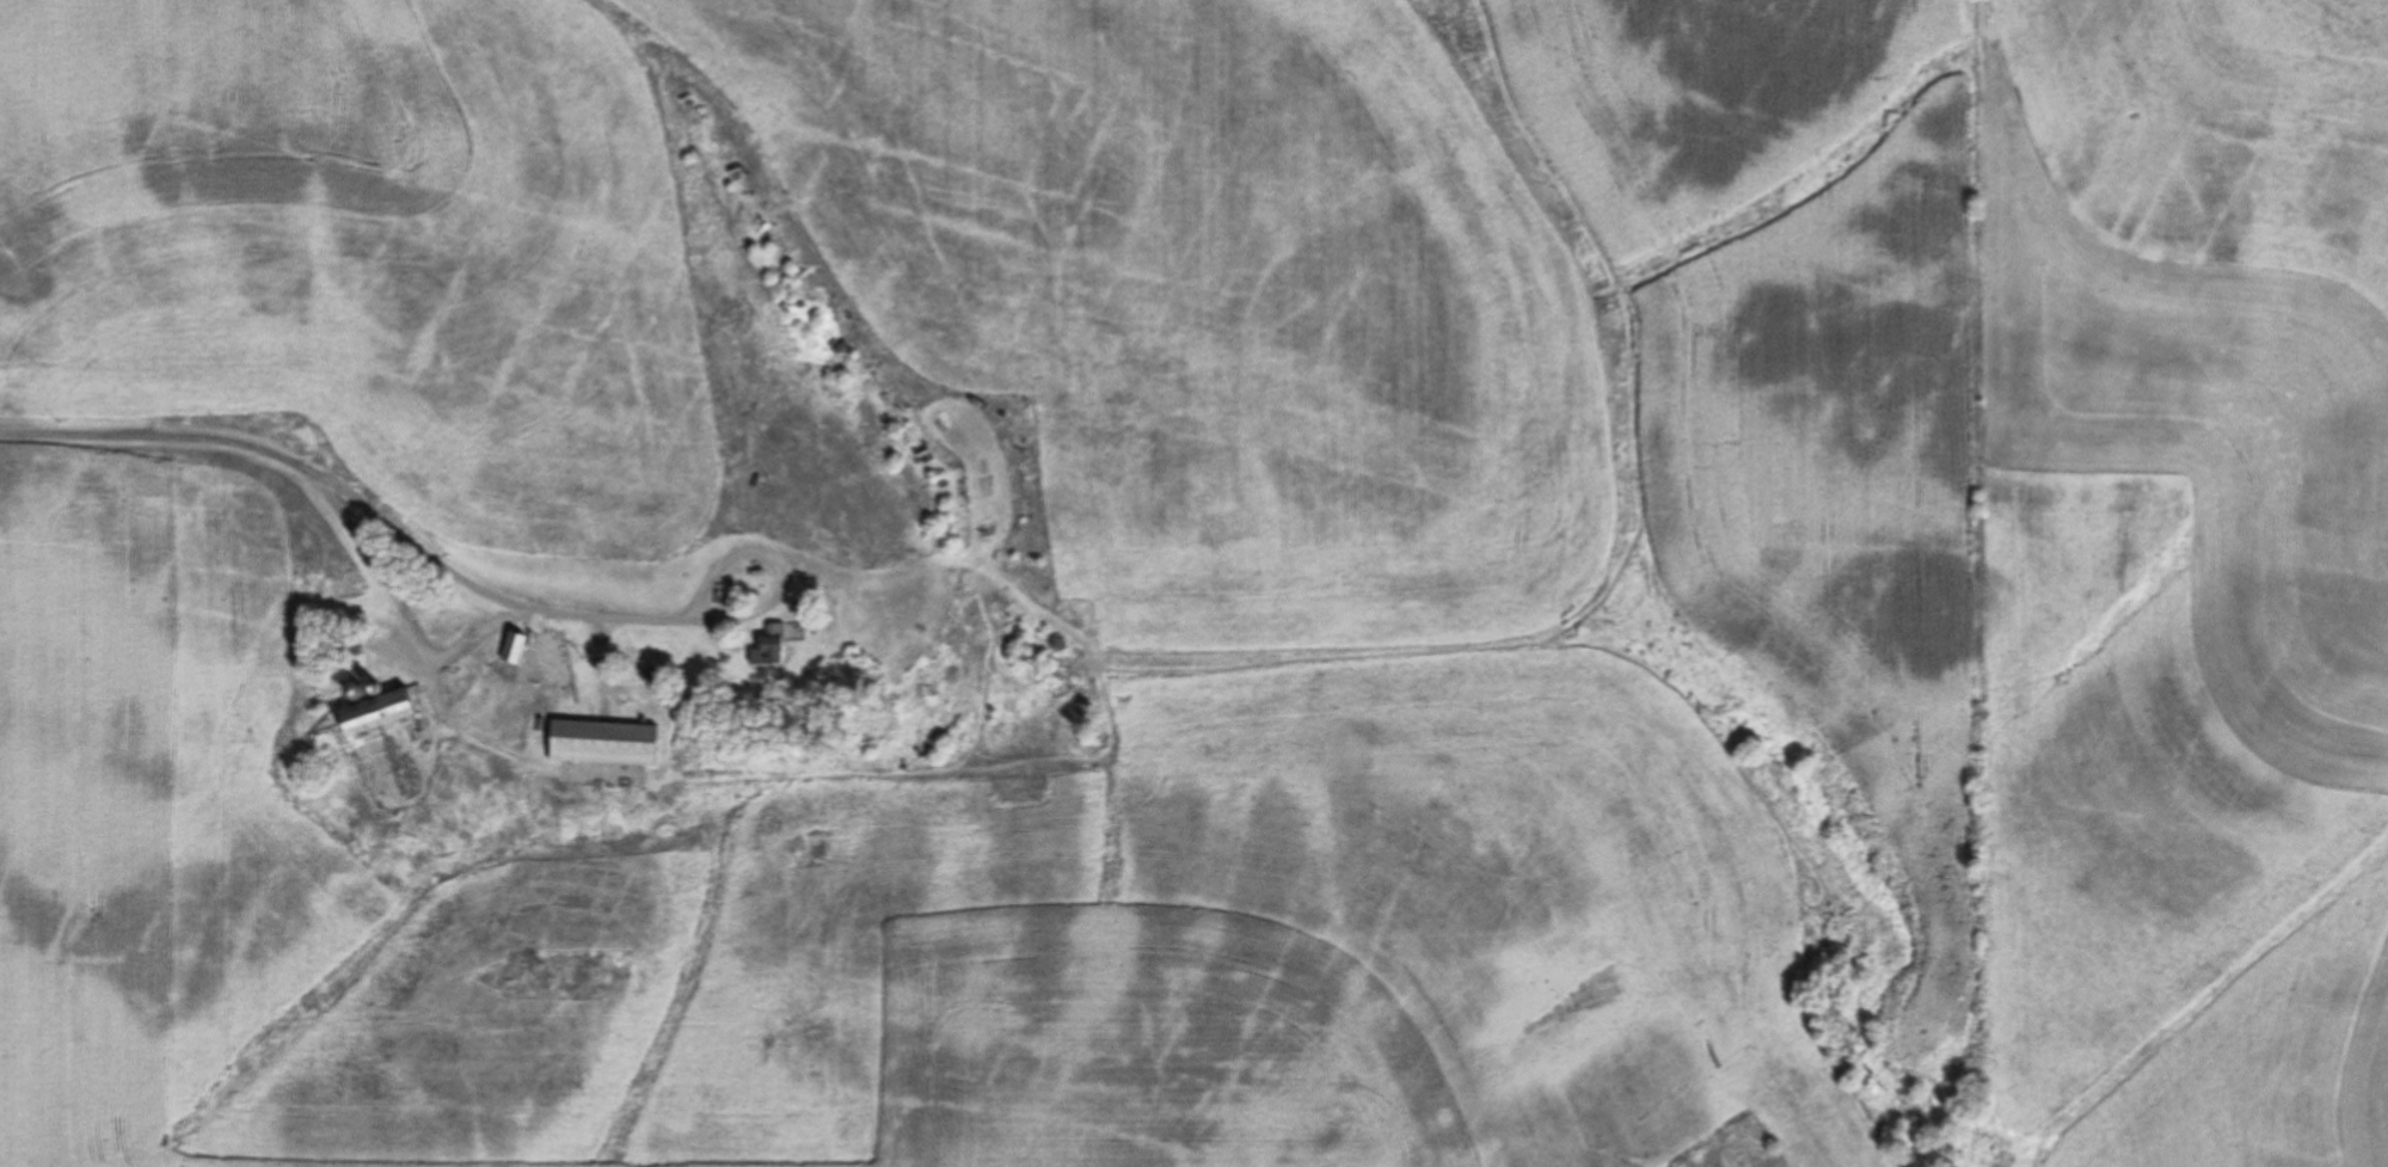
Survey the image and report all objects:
road: (344, 489)
building: (767, 645)
building: (510, 649)
building: (373, 711)
building: (600, 742)

